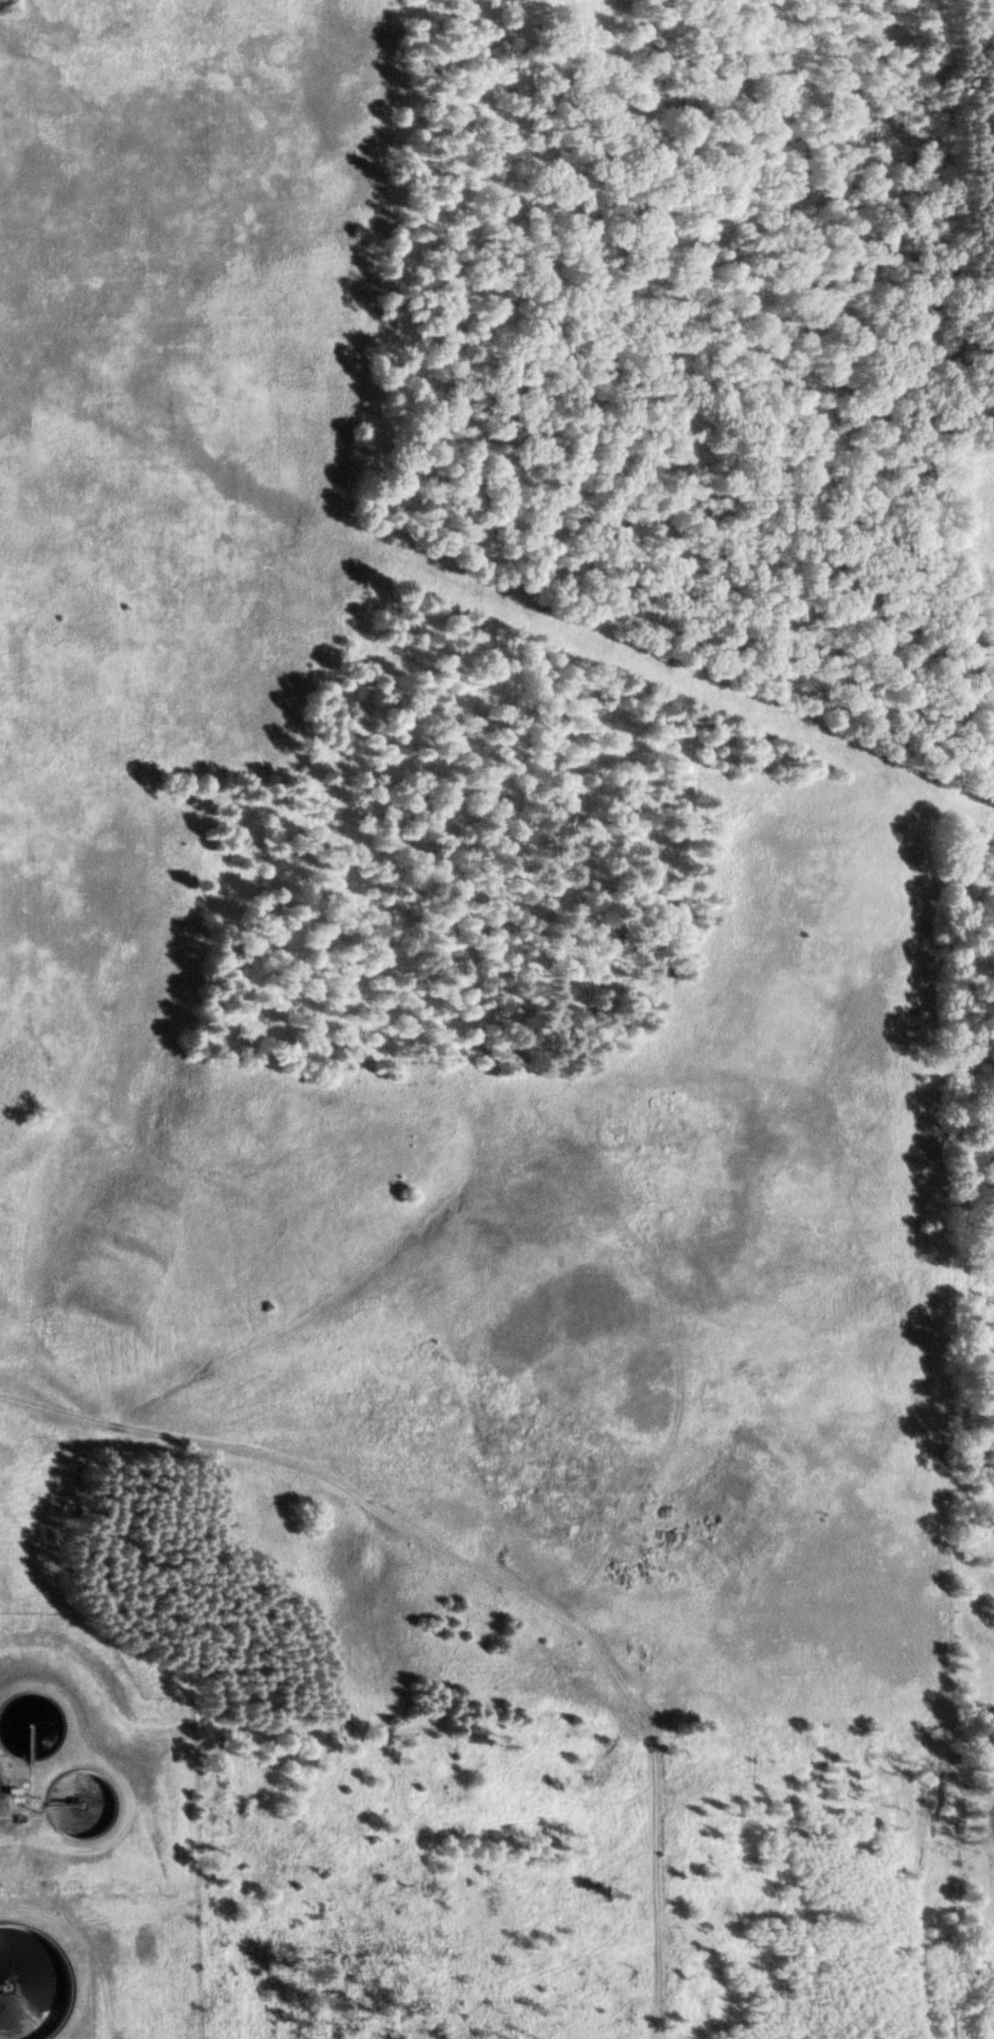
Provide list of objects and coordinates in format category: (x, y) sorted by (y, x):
building: (25, 1731)
wastewater plant: (103, 1843)

